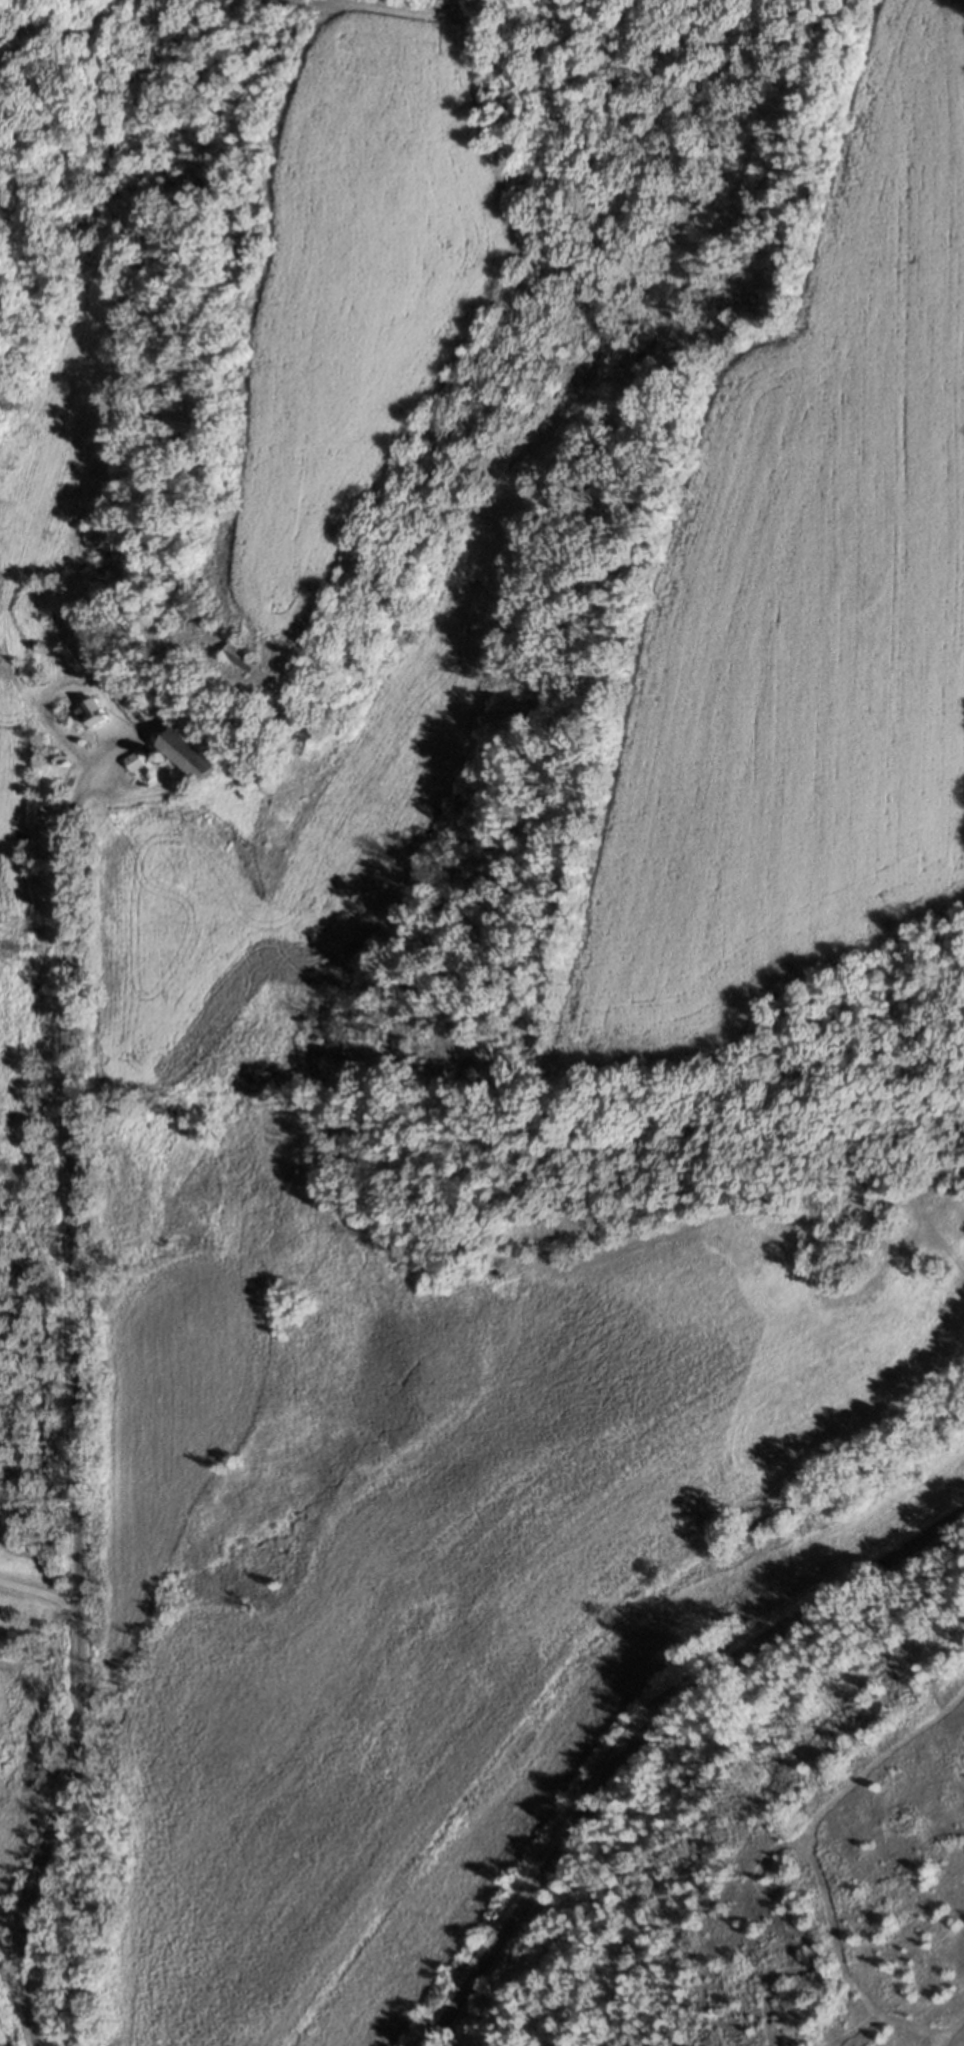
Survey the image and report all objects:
building: (77, 654)
building: (244, 655)
building: (161, 695)
building: (90, 710)
building: (186, 753)
building: (135, 760)
building: (146, 772)
building: (911, 1179)
road: (76, 1402)
road: (39, 1595)
road: (647, 1729)
road: (9, 1975)

